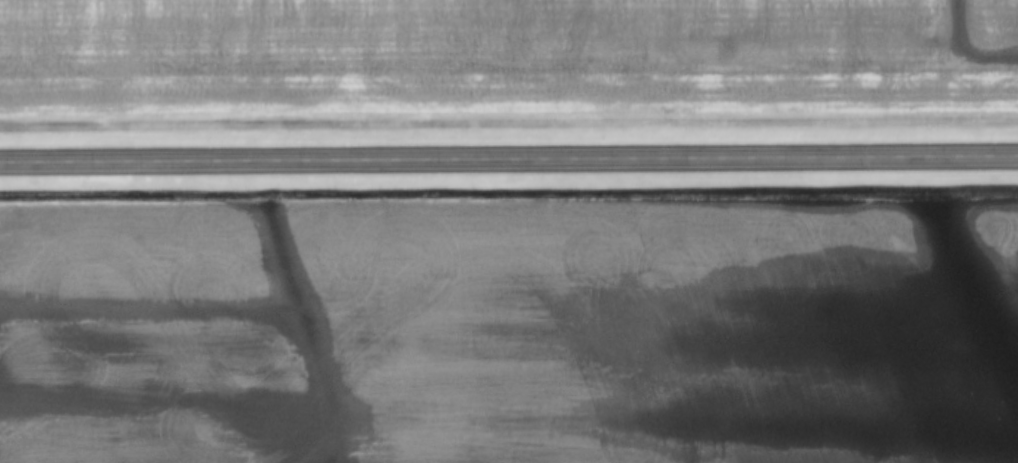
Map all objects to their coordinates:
crop: (506, 57)
road: (509, 161)
crop: (510, 333)

